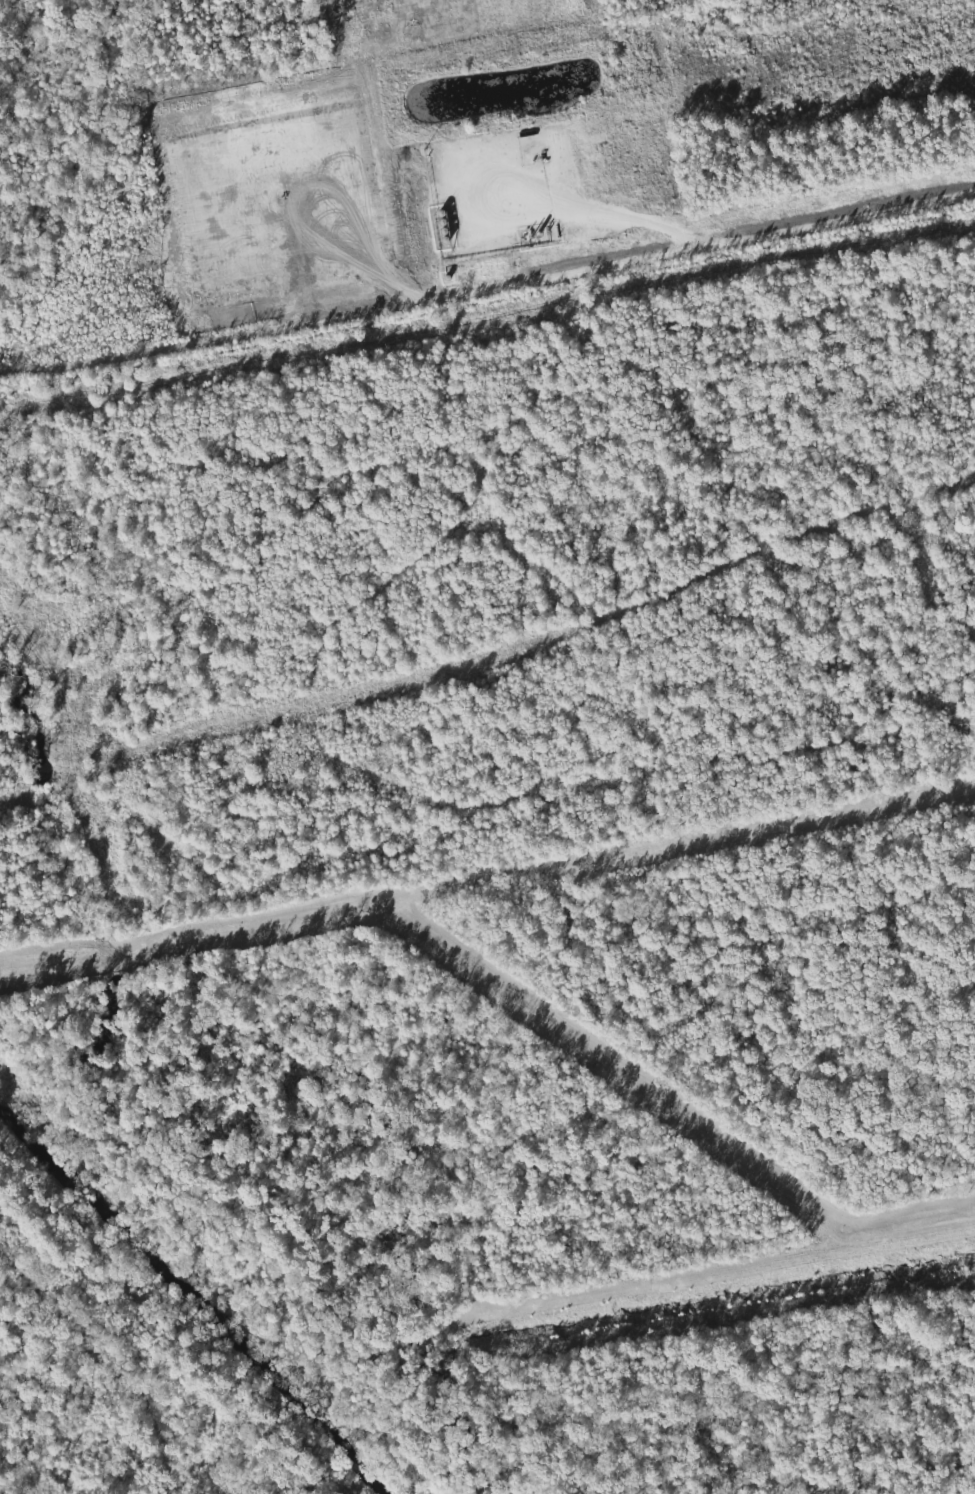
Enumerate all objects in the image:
road: (777, 224)

